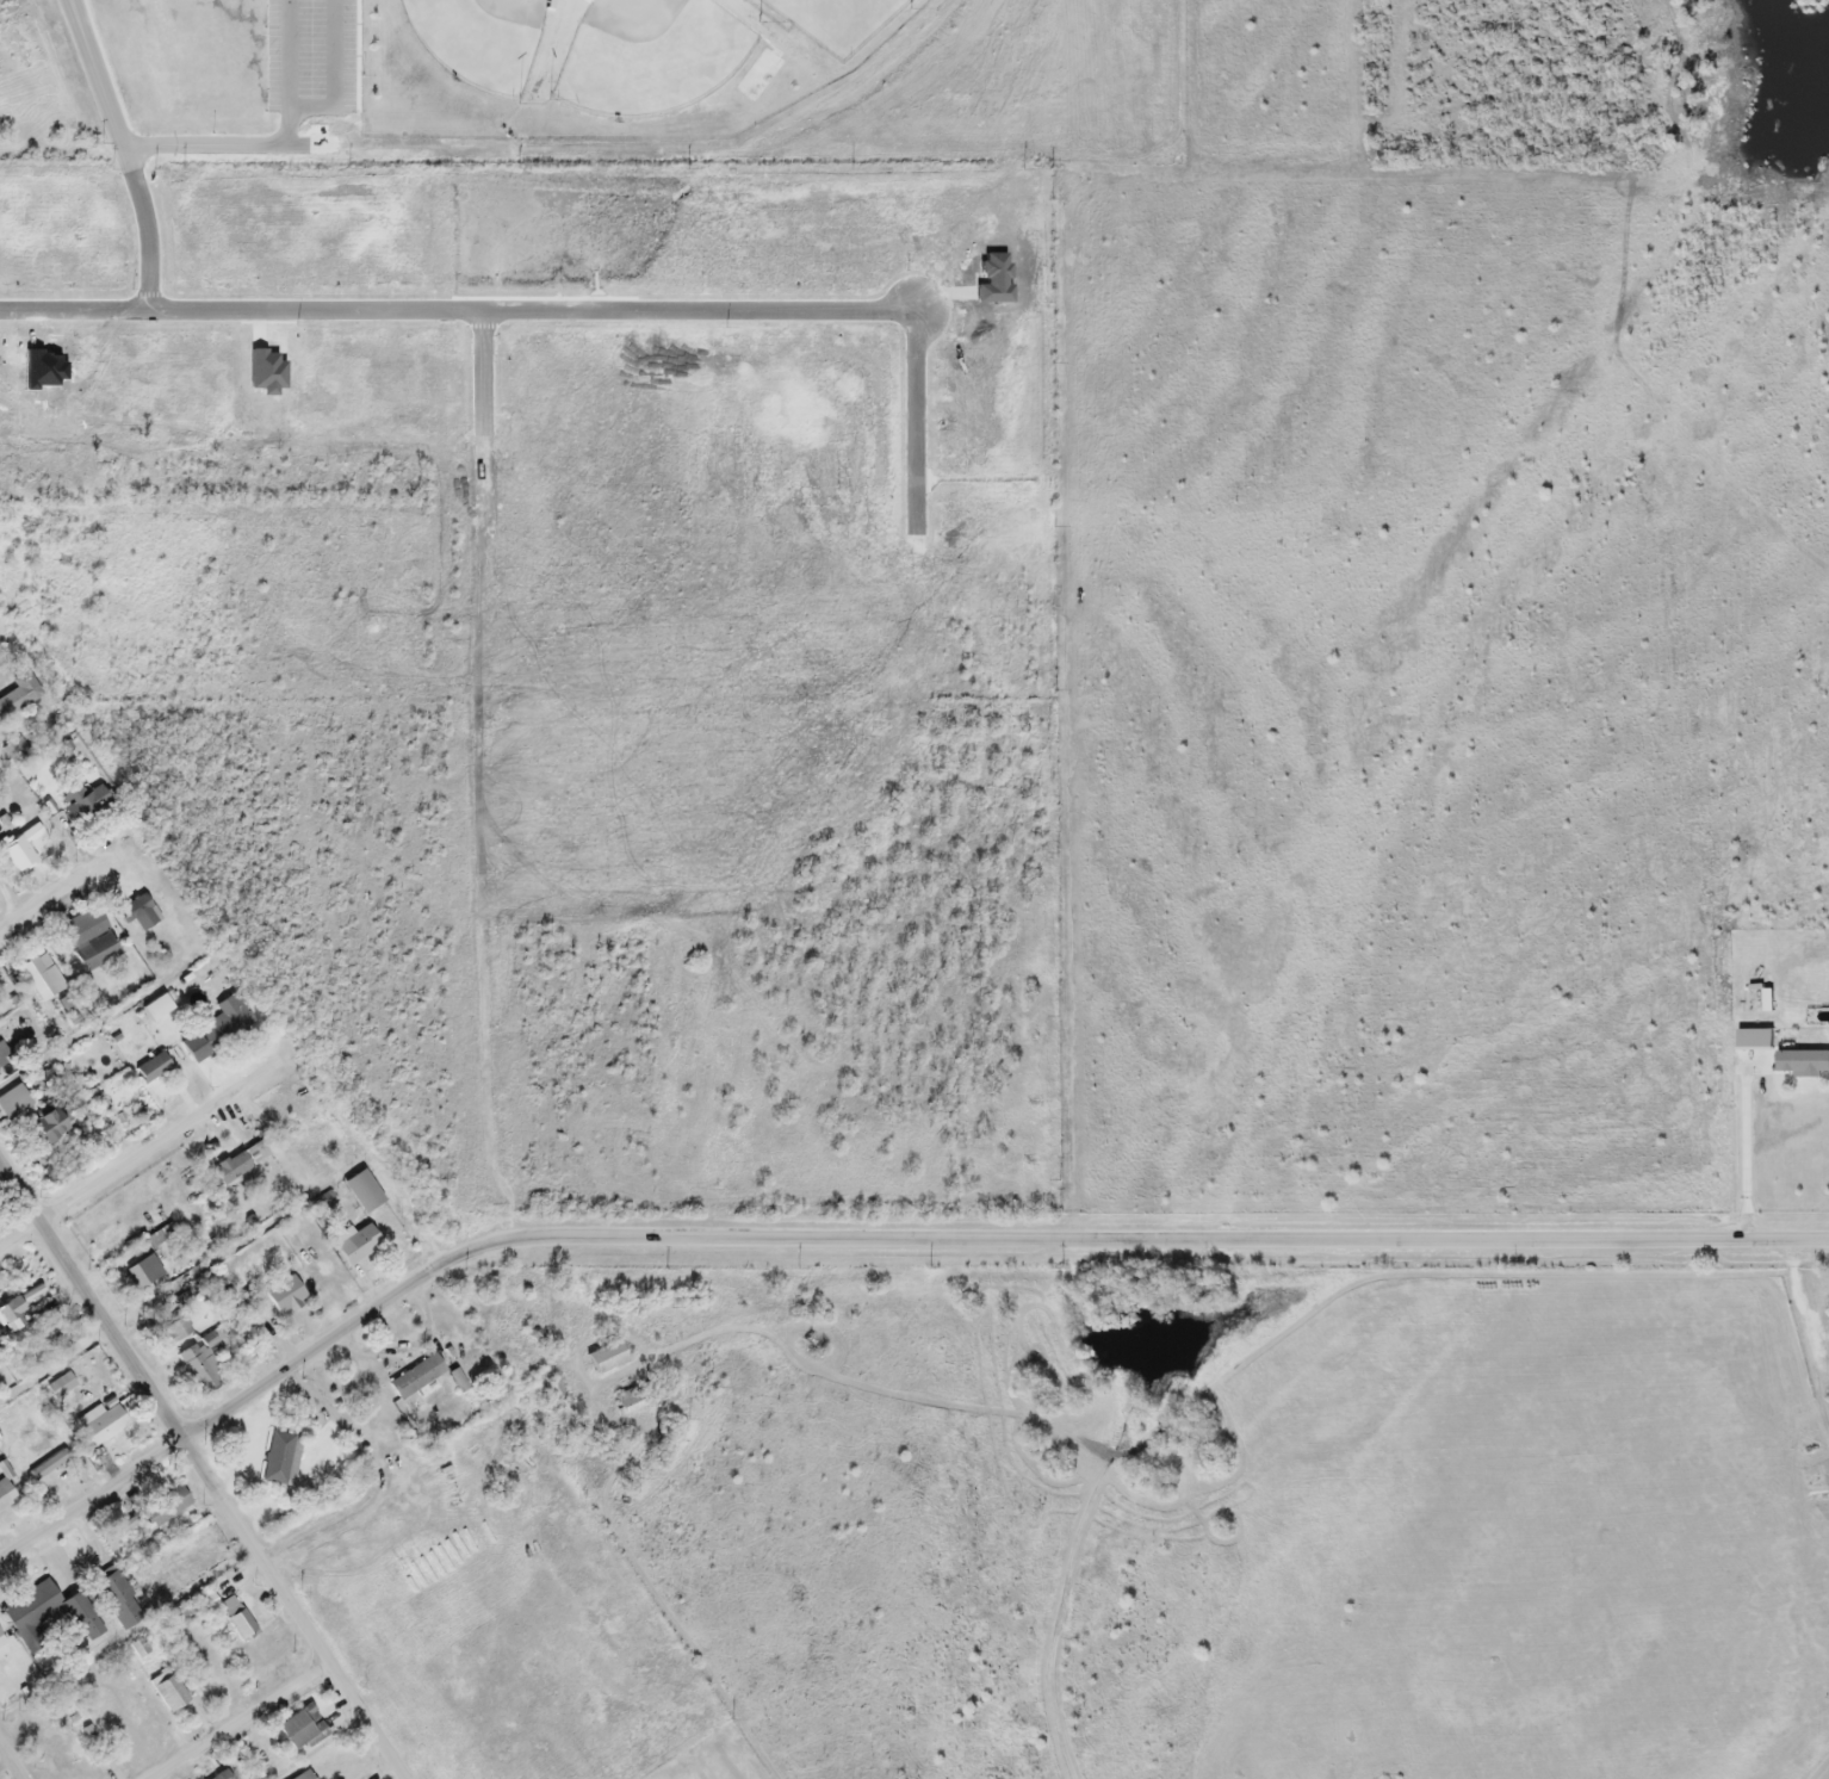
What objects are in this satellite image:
road: (88, 48)
road: (317, 114)
road: (169, 143)
road: (147, 224)
road: (563, 308)
building: (31, 613)
building: (17, 698)
building: (80, 802)
building: (19, 849)
road: (55, 895)
building: (137, 913)
building: (87, 942)
building: (41, 978)
building: (159, 1006)
building: (222, 1025)
building: (2, 1059)
building: (1802, 1062)
building: (150, 1070)
building: (13, 1103)
building: (45, 1126)
road: (137, 1148)
road: (1748, 1155)
building: (238, 1164)
building: (361, 1192)
road: (868, 1240)
building: (356, 1246)
building: (311, 1257)
building: (141, 1273)
building: (283, 1295)
road: (161, 1297)
building: (7, 1312)
building: (170, 1324)
building: (604, 1358)
building: (199, 1369)
building: (415, 1378)
building: (58, 1387)
building: (627, 1402)
building: (101, 1430)
building: (277, 1459)
building: (48, 1465)
road: (199, 1473)
building: (162, 1507)
building: (114, 1601)
building: (46, 1614)
building: (236, 1619)
building: (166, 1691)
road: (249, 1725)
building: (296, 1728)
road: (12, 1760)
building: (221, 1775)
building: (303, 1775)

